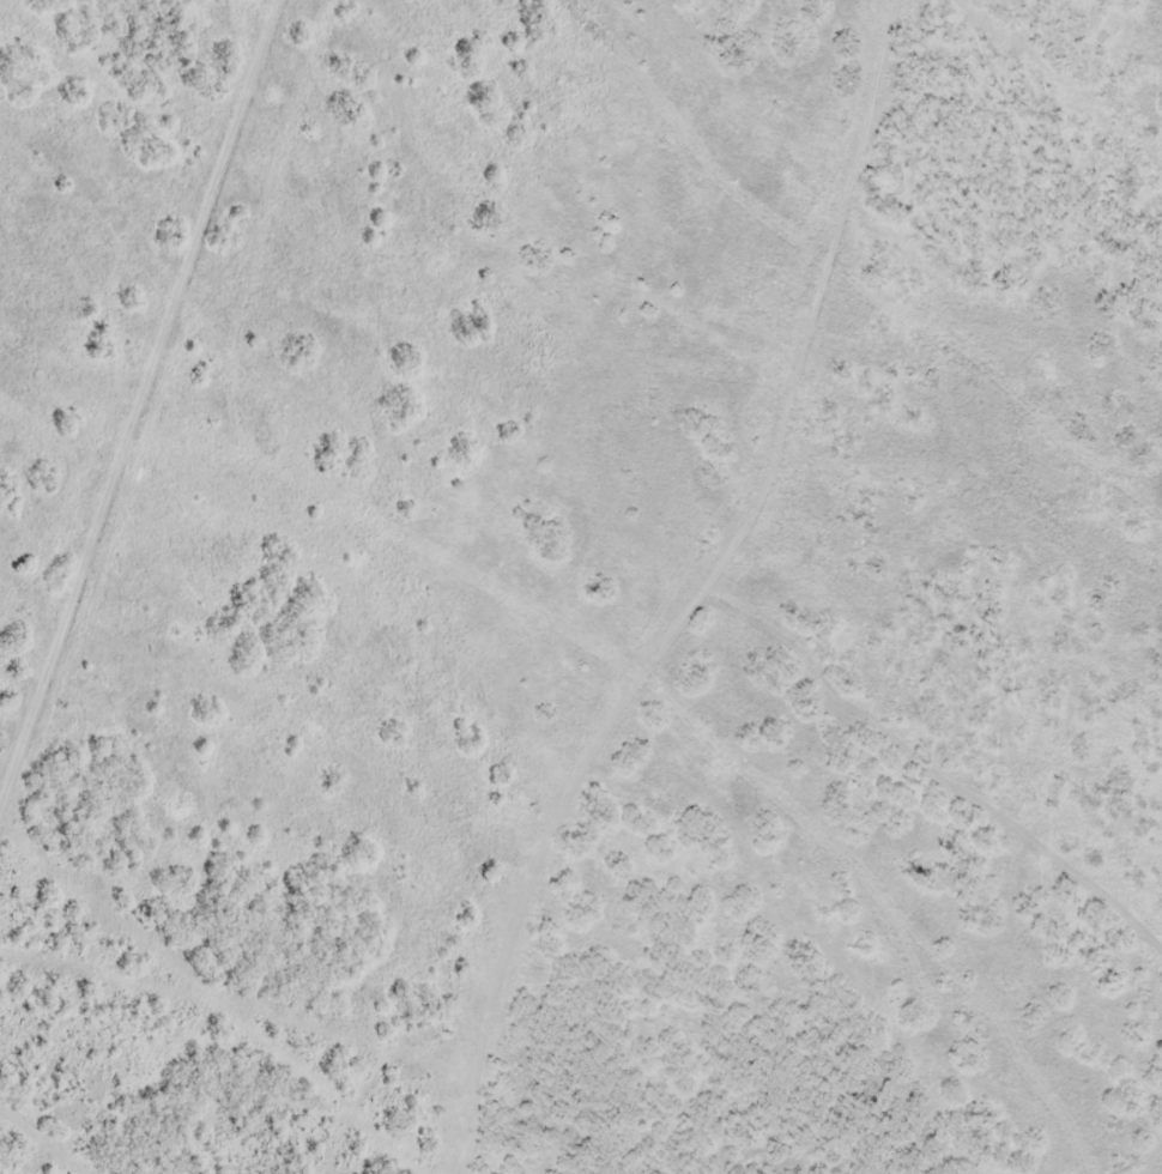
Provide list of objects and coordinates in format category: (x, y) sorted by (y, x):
road: (668, 581)

